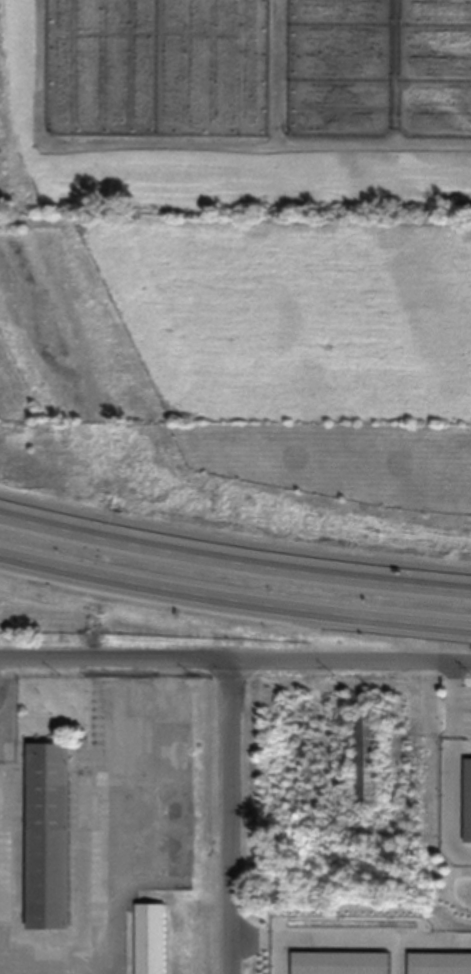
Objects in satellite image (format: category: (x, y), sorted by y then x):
crop: (245, 234)
road: (234, 539)
road: (234, 561)
road: (234, 598)
road: (235, 665)
building: (368, 758)
road: (454, 817)
road: (230, 819)
building: (44, 834)
building: (147, 938)
road: (441, 951)
building: (454, 967)
road: (242, 971)

